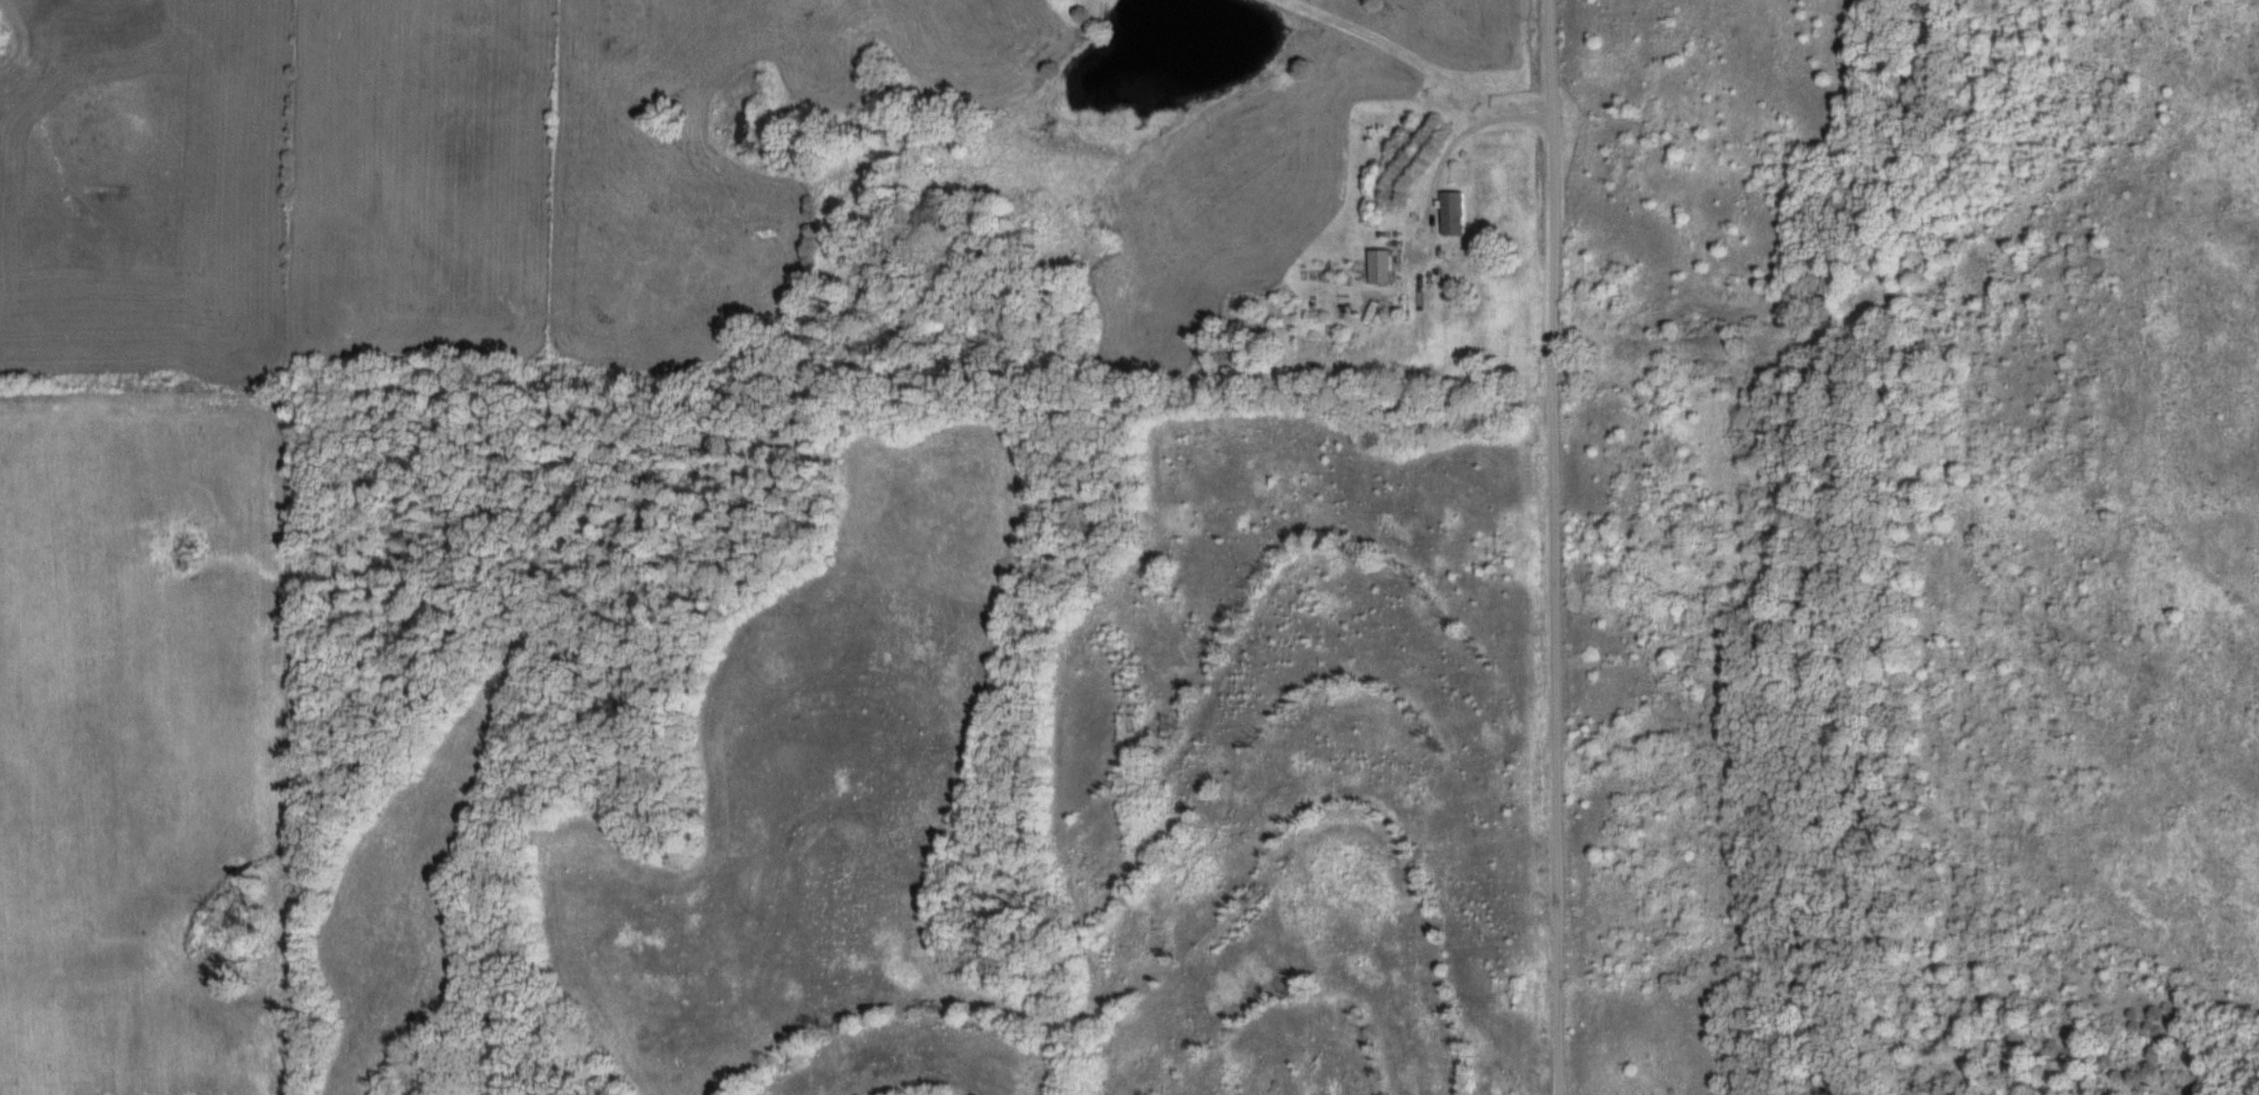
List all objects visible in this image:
building: (1453, 213)
building: (1381, 264)
road: (1554, 547)

